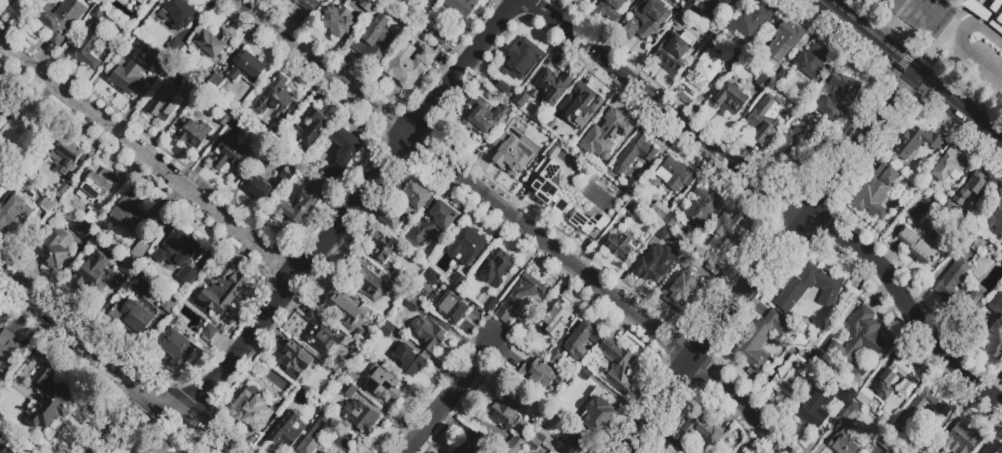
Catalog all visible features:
building: (435, 1)
road: (775, 1)
building: (140, 2)
building: (728, 2)
building: (881, 2)
building: (395, 3)
building: (308, 5)
building: (693, 6)
building: (894, 6)
building: (996, 8)
building: (609, 9)
building: (457, 10)
building: (976, 10)
building: (96, 12)
building: (179, 13)
road: (815, 13)
building: (681, 17)
building: (61, 19)
building: (337, 19)
building: (647, 20)
building: (751, 20)
building: (999, 21)
road: (977, 23)
building: (442, 35)
road: (892, 36)
road: (809, 37)
road: (870, 38)
building: (373, 40)
building: (785, 41)
building: (211, 43)
building: (90, 47)
building: (175, 47)
building: (673, 52)
road: (980, 60)
building: (811, 61)
building: (157, 62)
building: (409, 64)
building: (516, 64)
building: (728, 64)
building: (247, 69)
building: (697, 75)
building: (782, 76)
traffic signals: (917, 76)
building: (128, 77)
building: (763, 81)
building: (0, 85)
building: (215, 86)
building: (552, 86)
building: (192, 88)
building: (1, 89)
building: (839, 97)
building: (521, 99)
building: (729, 99)
road: (79, 101)
building: (273, 101)
building: (582, 104)
building: (161, 106)
road: (959, 109)
building: (765, 117)
building: (481, 118)
building: (224, 119)
building: (553, 120)
road: (950, 120)
building: (236, 124)
building: (314, 126)
building: (20, 130)
building: (613, 132)
building: (192, 134)
building: (541, 135)
road: (967, 135)
building: (275, 137)
building: (916, 142)
building: (794, 143)
building: (507, 145)
road: (861, 147)
building: (558, 148)
building: (587, 152)
building: (635, 152)
building: (341, 154)
building: (228, 156)
road: (992, 156)
building: (63, 157)
road: (147, 157)
building: (949, 164)
building: (673, 173)
building: (8, 174)
building: (286, 175)
building: (257, 180)
building: (548, 181)
building: (93, 185)
building: (631, 185)
building: (973, 188)
building: (63, 189)
building: (875, 192)
road: (775, 193)
building: (616, 196)
building: (706, 204)
building: (48, 206)
building: (299, 206)
building: (404, 206)
building: (559, 206)
building: (586, 208)
road: (345, 210)
building: (633, 210)
building: (660, 210)
building: (92, 218)
building: (15, 219)
building: (995, 219)
road: (518, 220)
building: (132, 223)
building: (672, 223)
building: (430, 225)
building: (82, 232)
building: (663, 233)
building: (727, 234)
building: (921, 240)
building: (975, 243)
building: (467, 245)
building: (382, 247)
building: (55, 248)
building: (620, 249)
building: (176, 250)
building: (655, 263)
building: (127, 267)
building: (494, 267)
building: (94, 273)
building: (189, 277)
building: (431, 278)
building: (458, 281)
building: (368, 283)
building: (689, 285)
building: (945, 287)
building: (224, 288)
building: (810, 289)
building: (518, 297)
building: (170, 303)
building: (489, 303)
building: (413, 305)
building: (344, 308)
building: (451, 308)
building: (133, 315)
building: (557, 318)
building: (385, 329)
building: (209, 331)
road: (713, 332)
building: (429, 334)
building: (322, 335)
building: (527, 335)
building: (581, 340)
building: (760, 340)
building: (995, 340)
building: (858, 341)
building: (176, 346)
building: (8, 348)
building: (813, 356)
building: (295, 359)
building: (555, 359)
building: (409, 360)
road: (113, 362)
building: (617, 364)
building: (540, 375)
building: (789, 375)
building: (334, 378)
building: (588, 379)
building: (910, 380)
building: (381, 383)
building: (349, 385)
building: (48, 392)
building: (290, 393)
road: (449, 395)
building: (848, 398)
building: (867, 399)
building: (301, 400)
building: (940, 408)
building: (249, 409)
building: (598, 409)
building: (815, 409)
building: (506, 415)
building: (852, 415)
building: (360, 416)
road: (126, 418)
building: (698, 428)
building: (286, 430)
building: (541, 434)
building: (315, 436)
building: (963, 439)
building: (844, 441)
building: (573, 442)
building: (885, 442)
building: (533, 444)
building: (480, 445)
building: (513, 445)
building: (10, 449)
building: (460, 449)
building: (672, 449)
building: (920, 449)
building: (986, 449)
building: (153, 450)
building: (176, 452)
building: (320, 452)
building: (324, 452)
building: (540, 452)
building: (932, 452)

